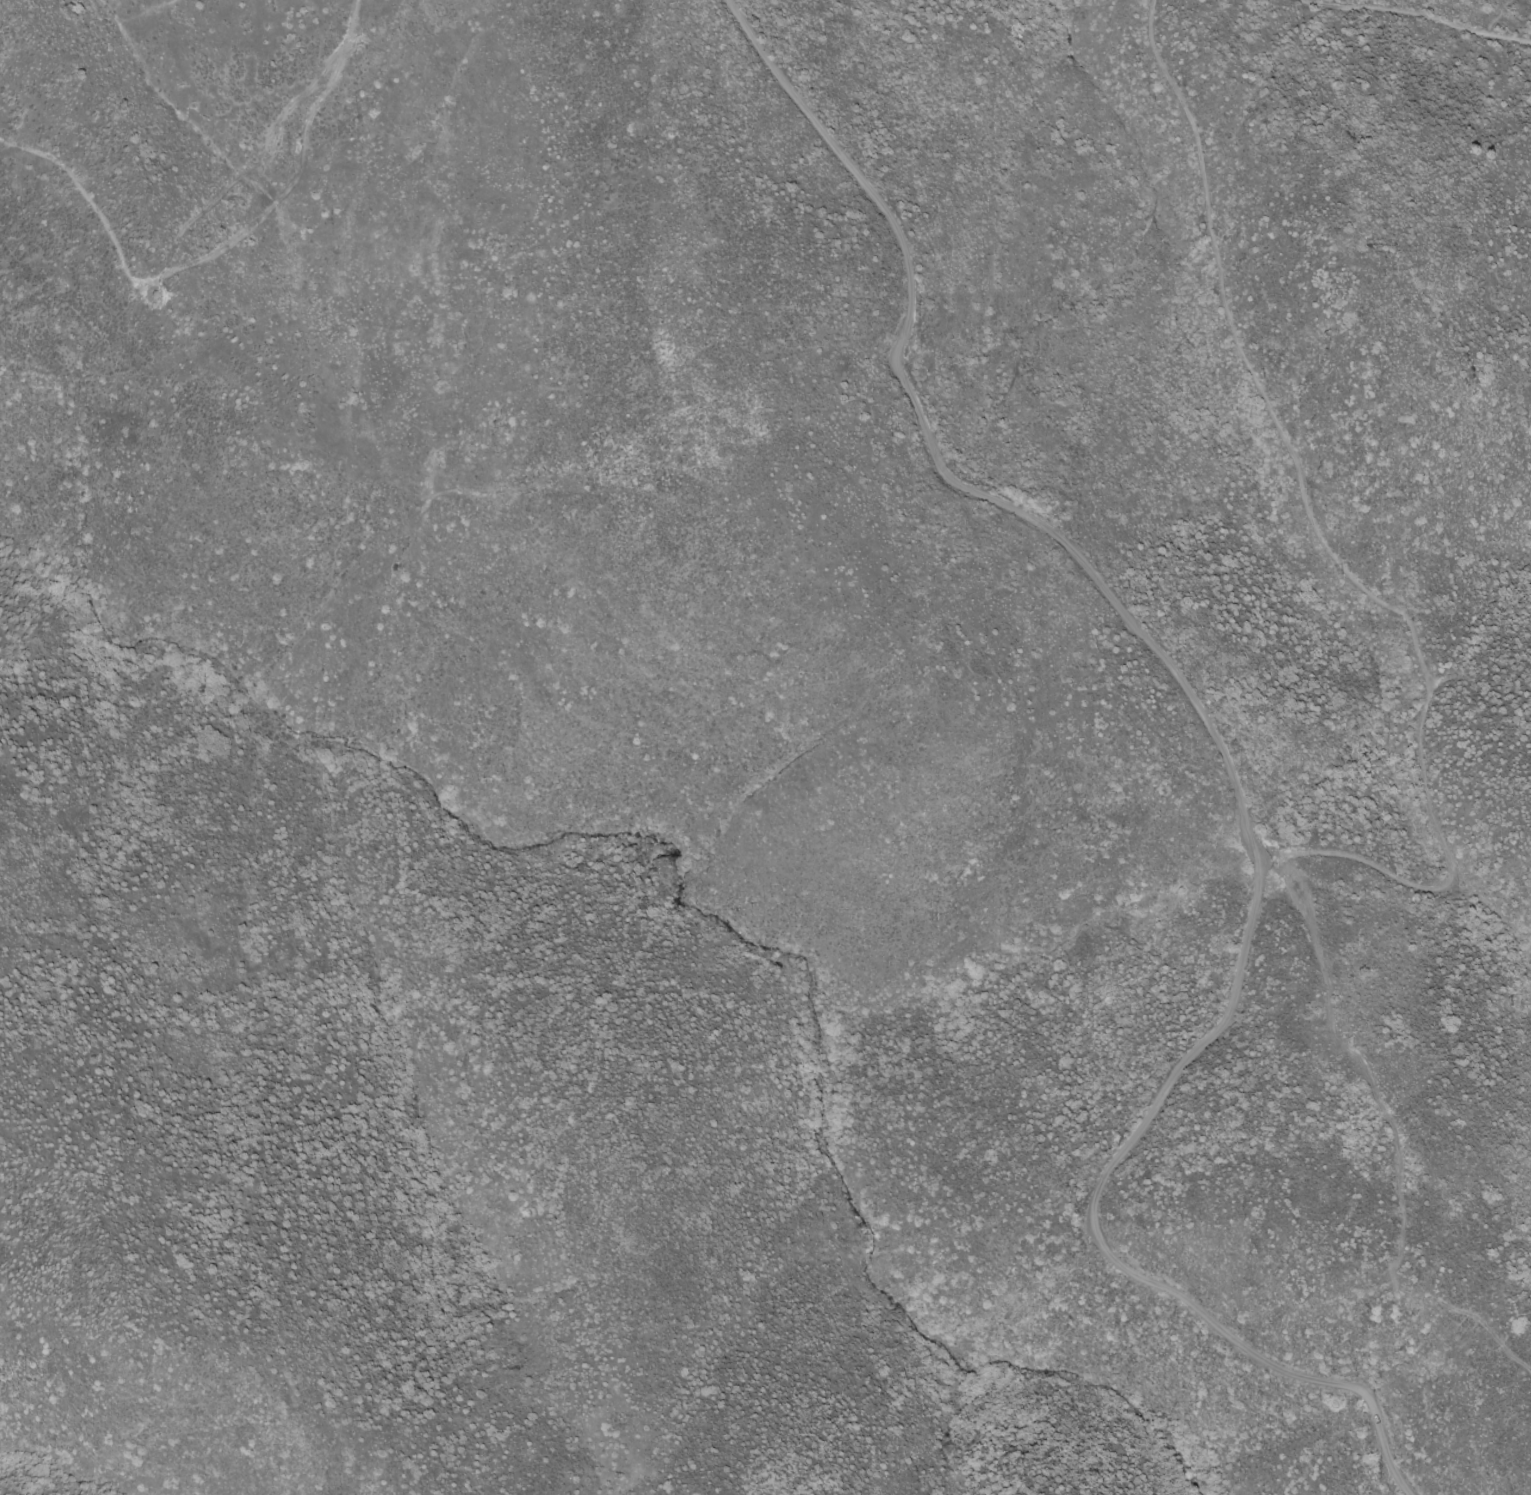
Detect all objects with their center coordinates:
road: (1410, 17)
road: (232, 255)
road: (1339, 556)
road: (1227, 762)
road: (1405, 1147)

